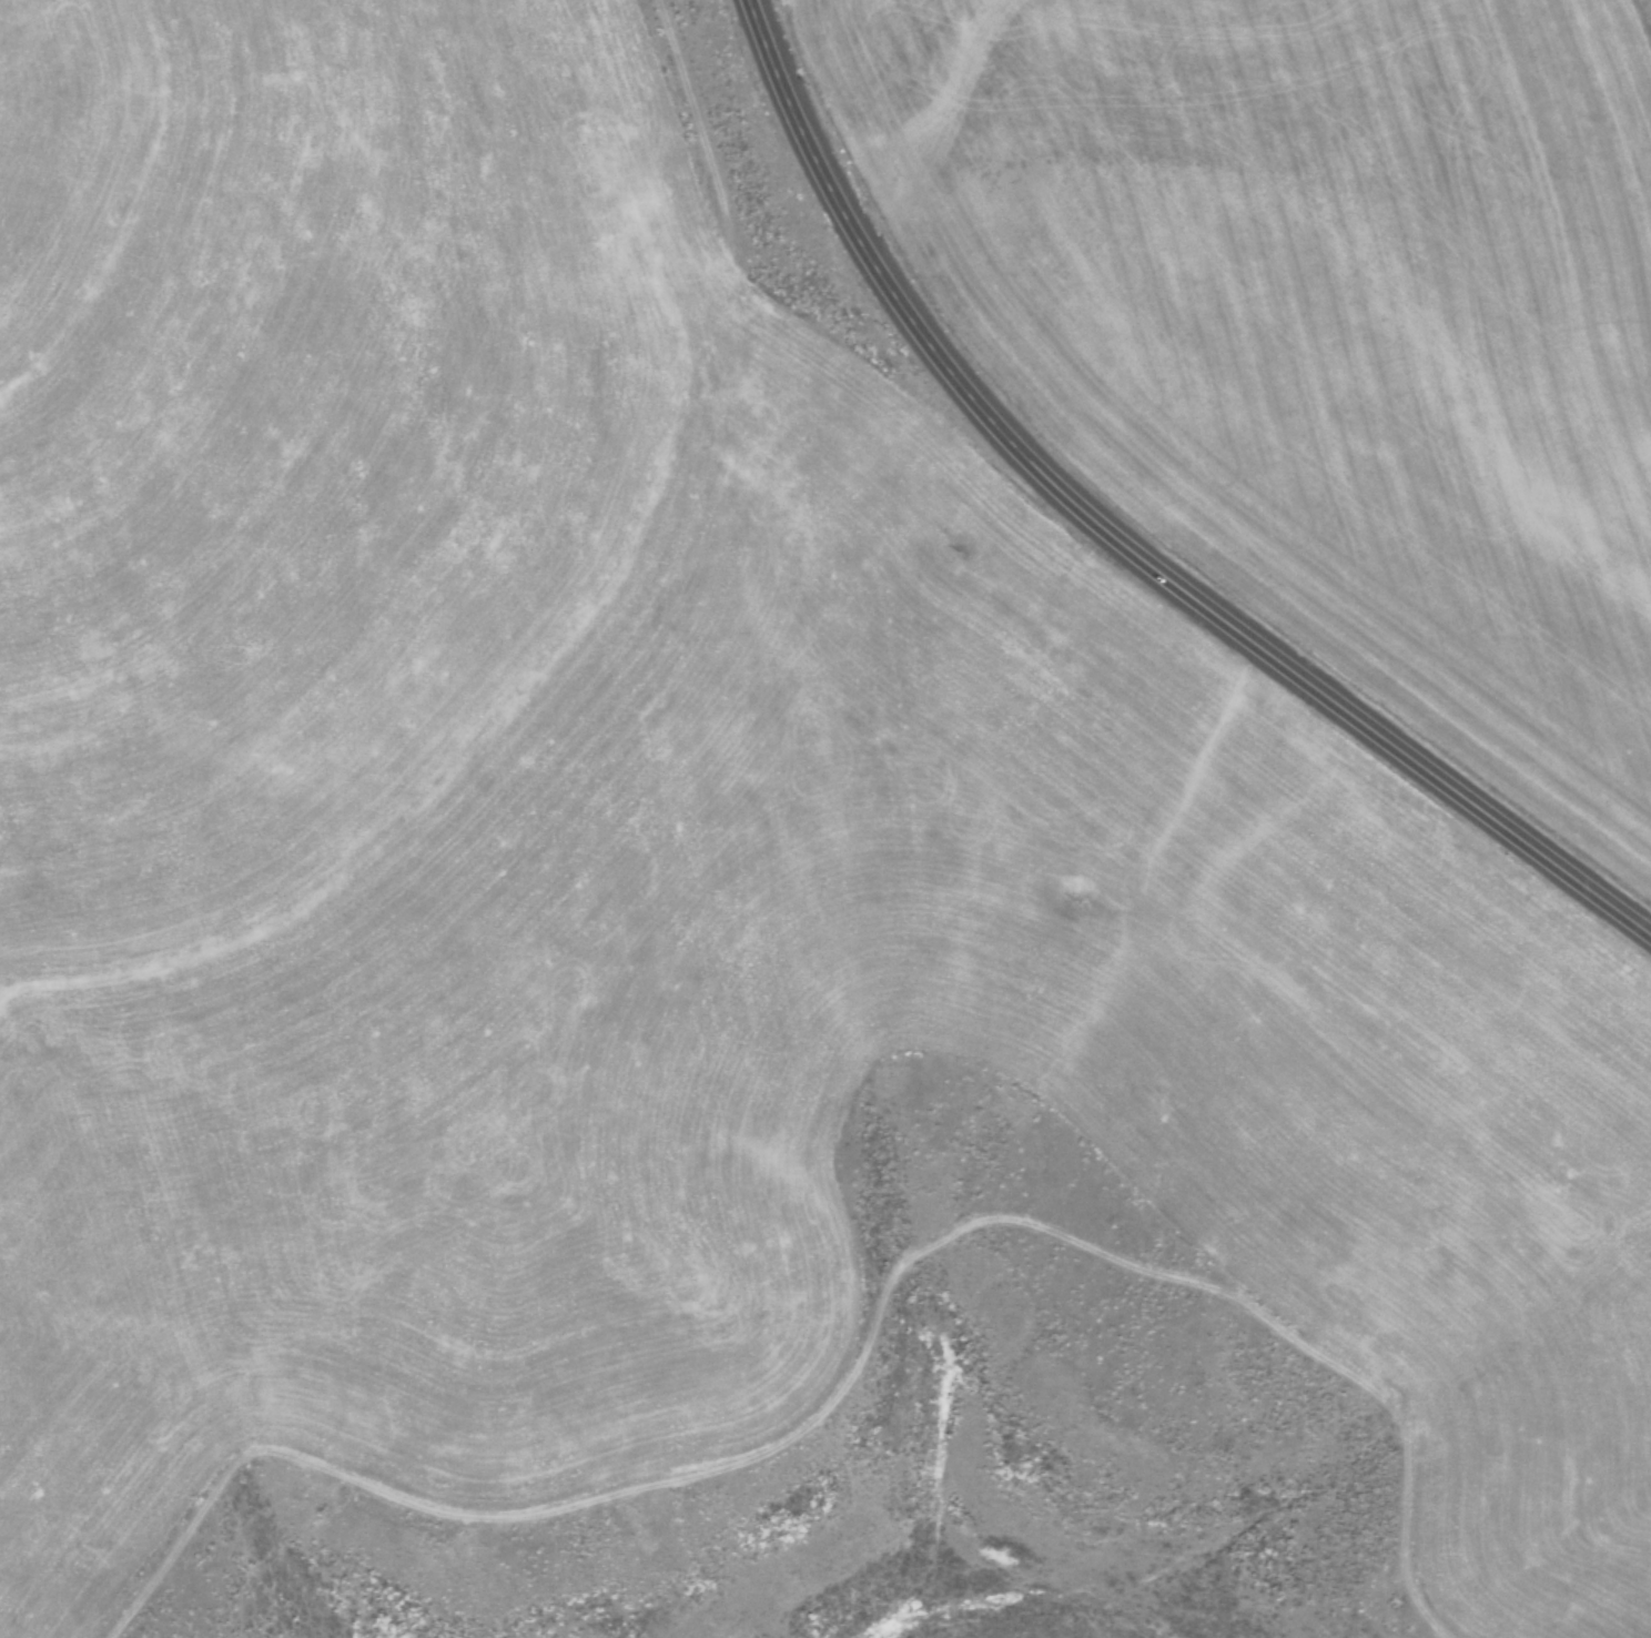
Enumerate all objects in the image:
road: (1117, 539)

